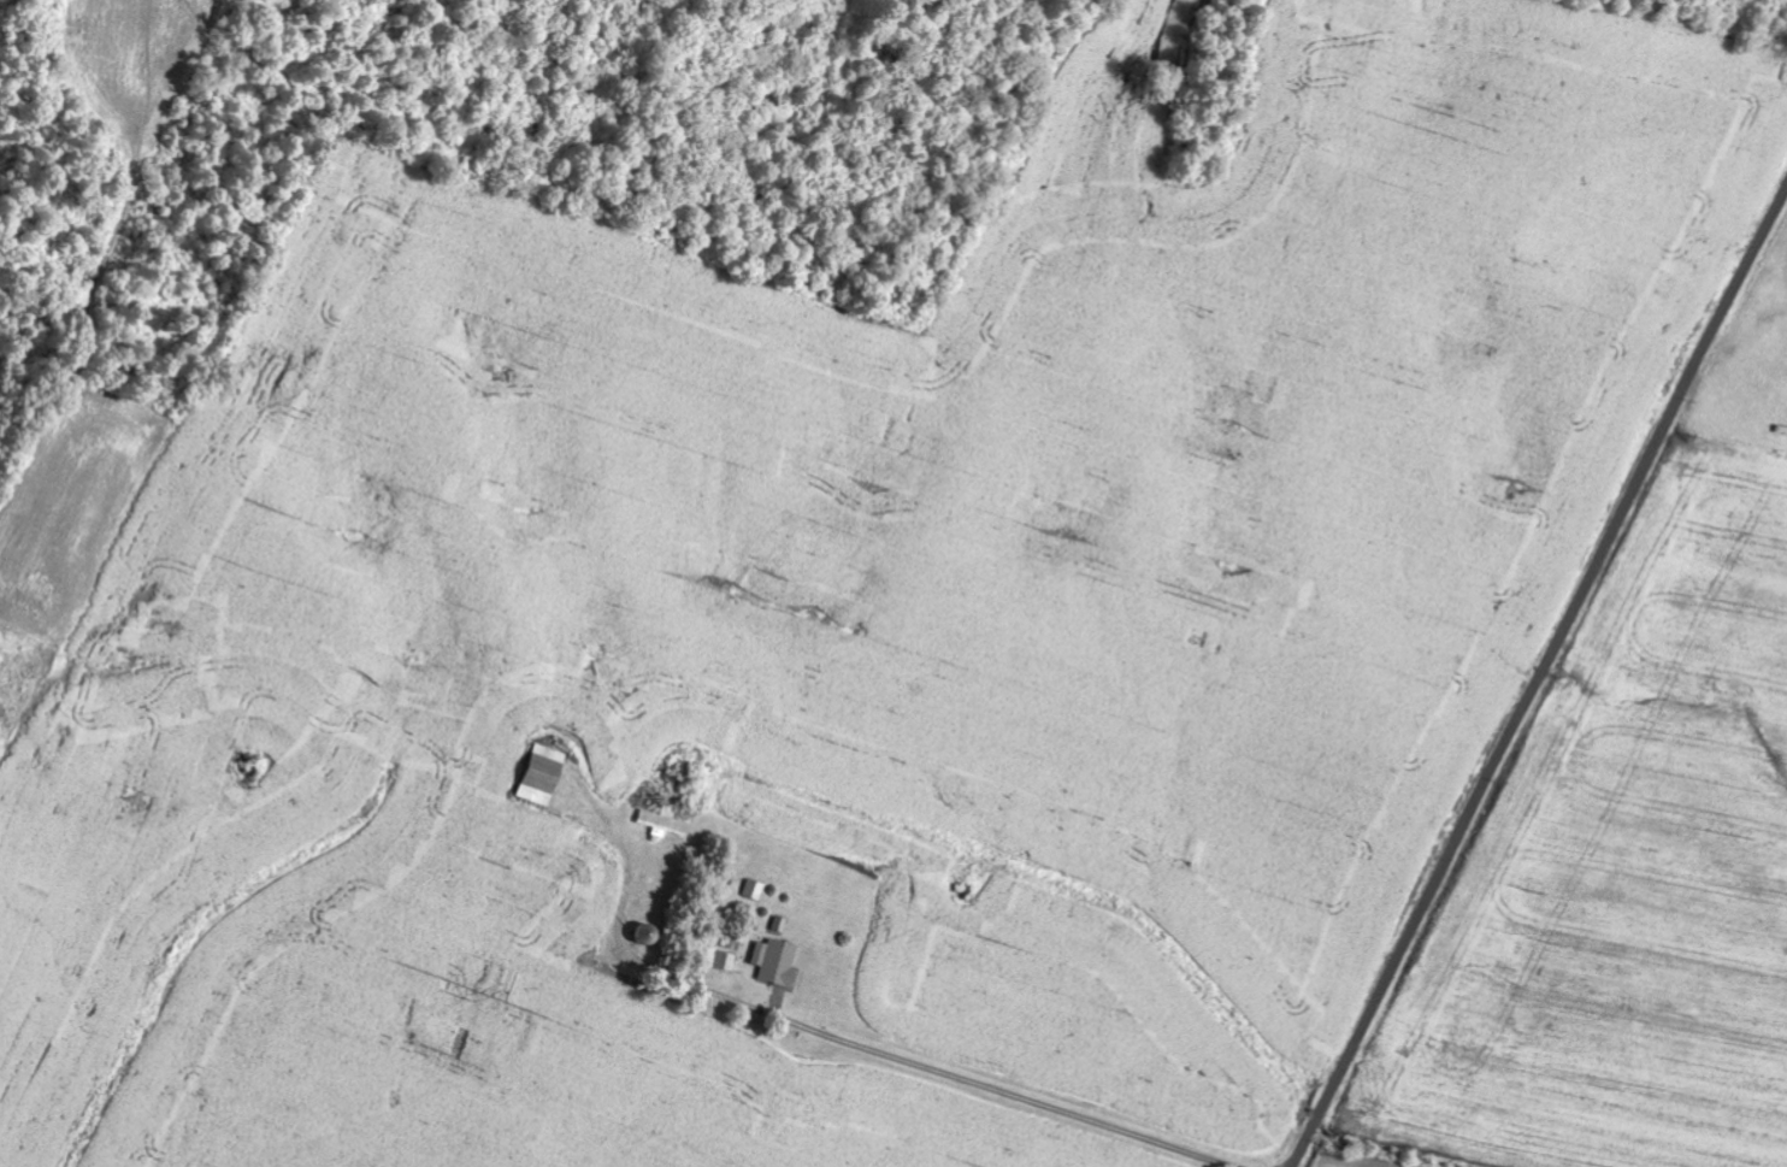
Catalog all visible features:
road: (1539, 677)
building: (543, 776)
building: (665, 821)
building: (755, 890)
building: (723, 960)
building: (777, 961)

